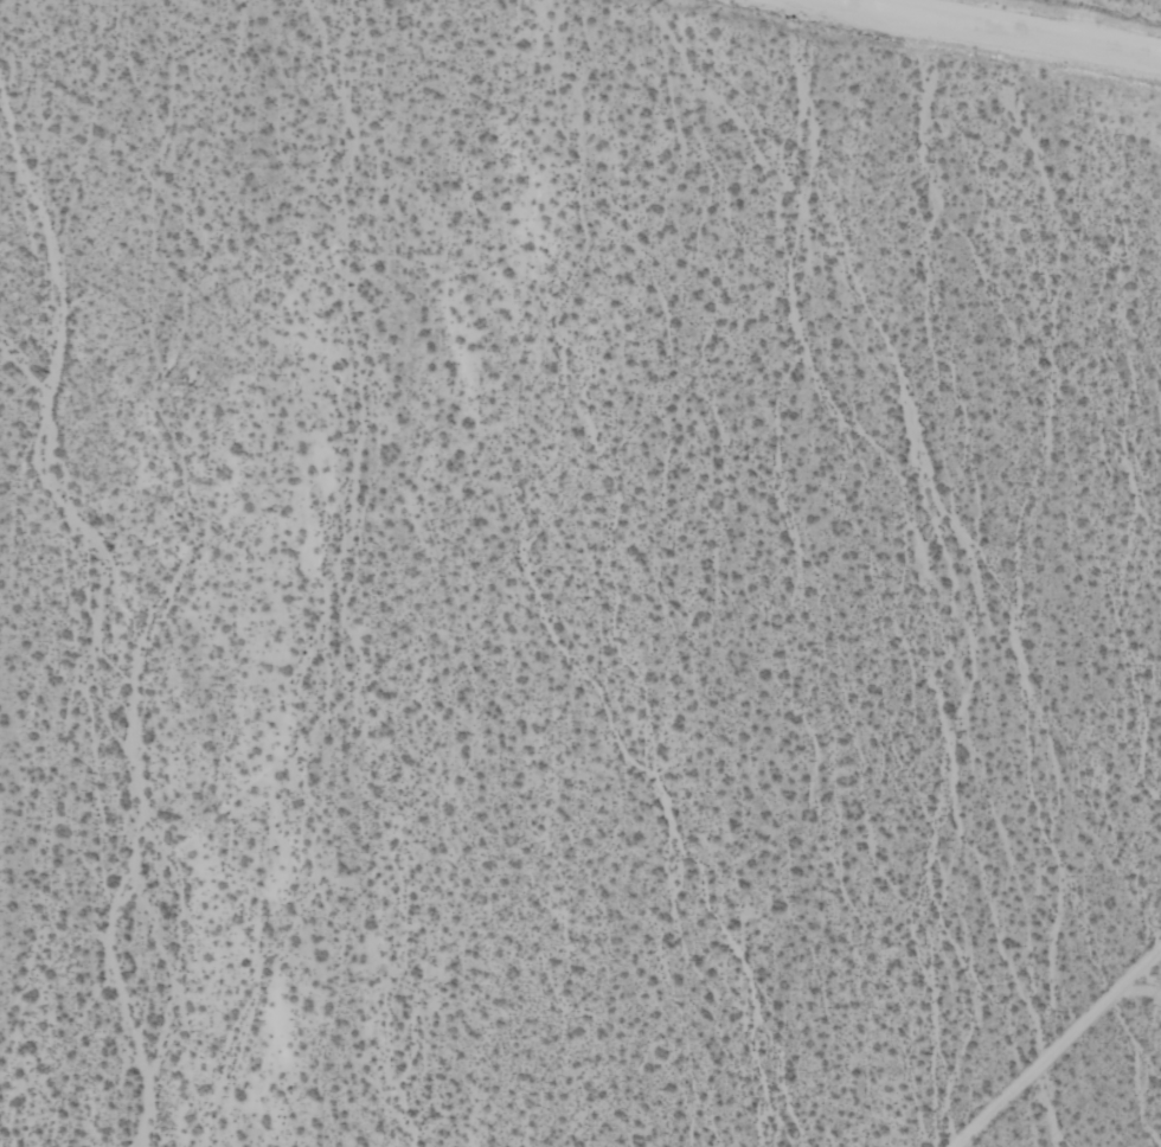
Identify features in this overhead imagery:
road: (1000, 30)

